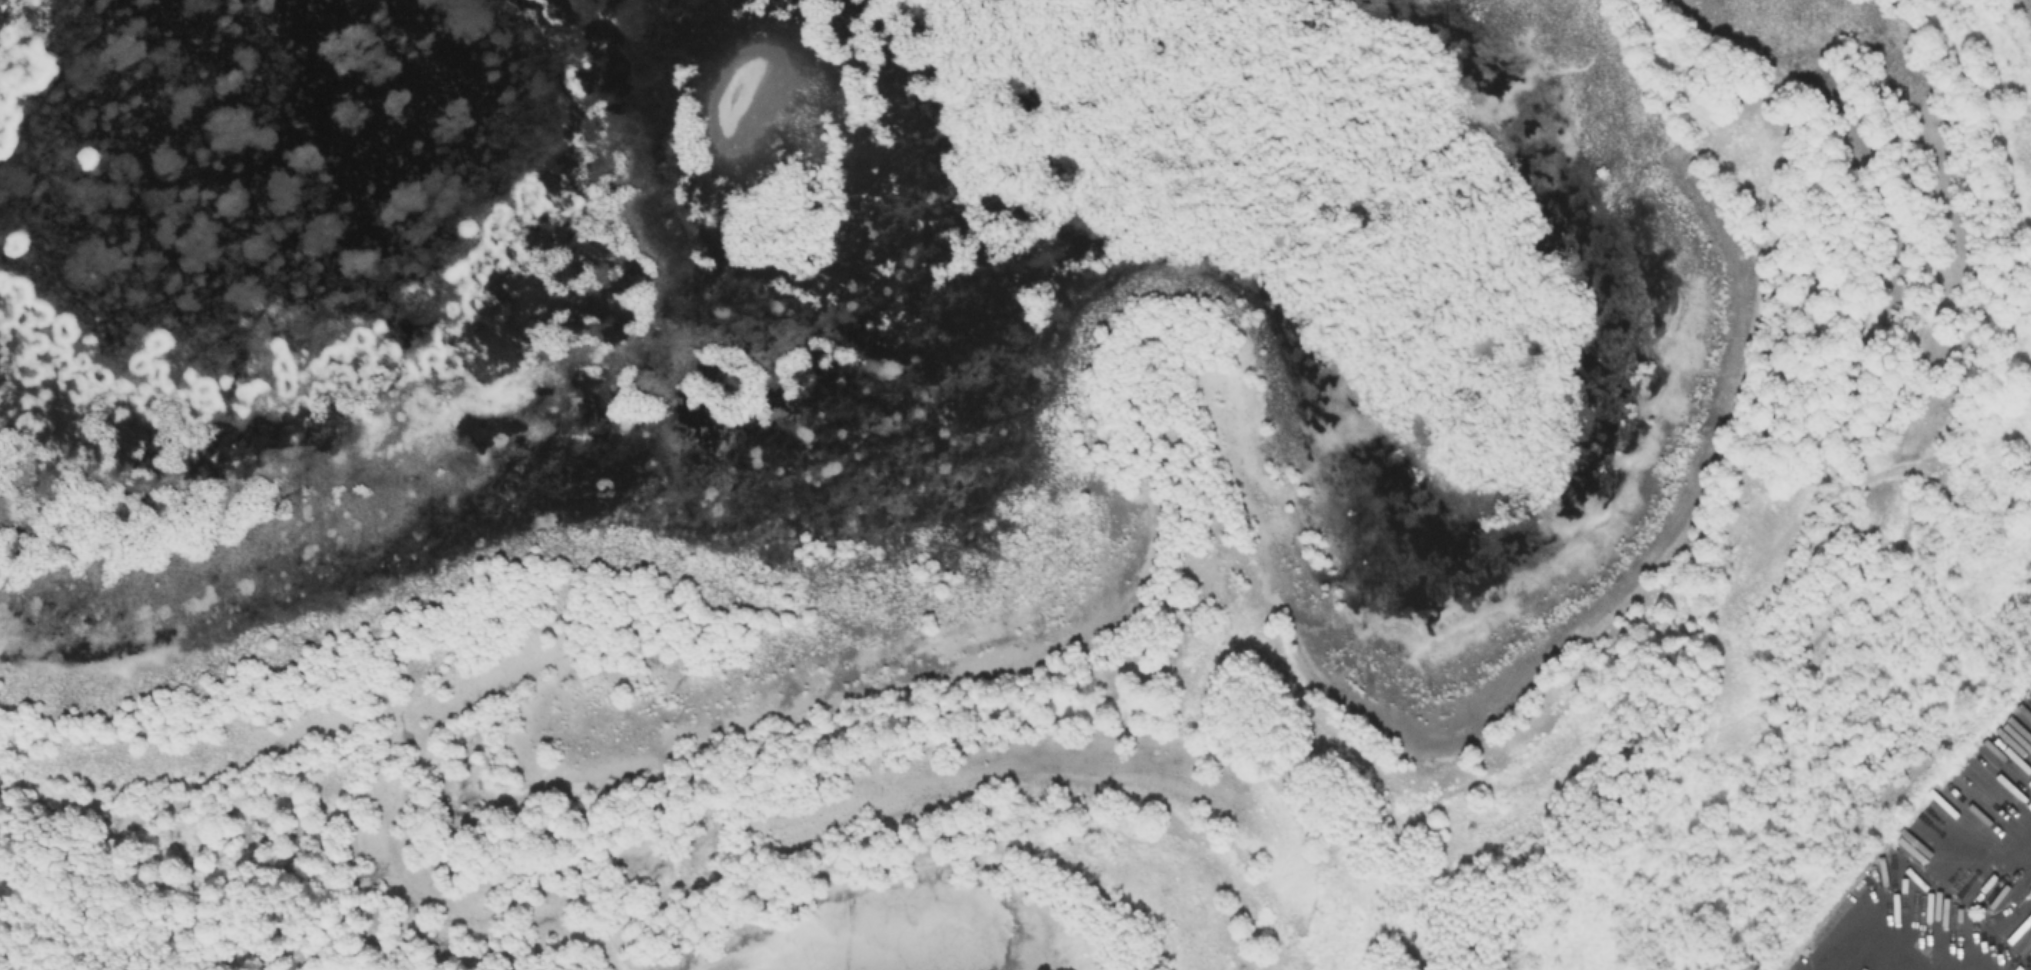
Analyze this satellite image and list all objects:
road: (2024, 824)
road: (1904, 865)

